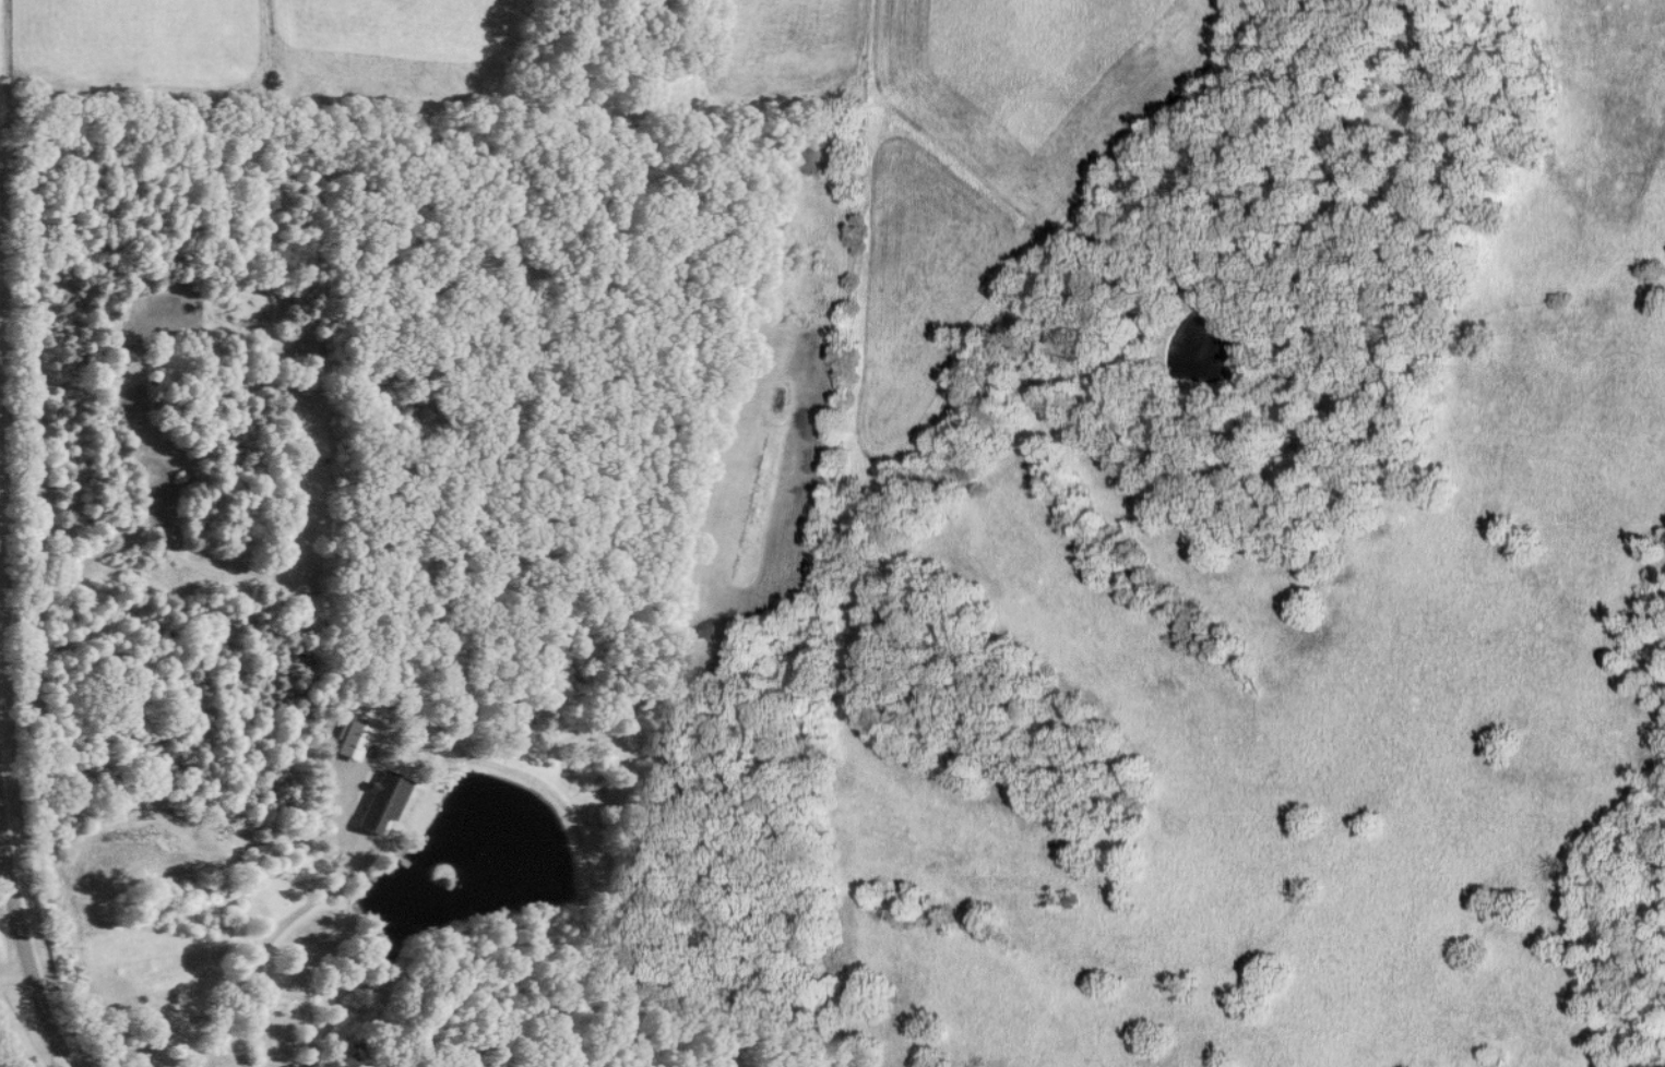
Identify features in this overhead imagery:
road: (32, 954)
road: (230, 981)

